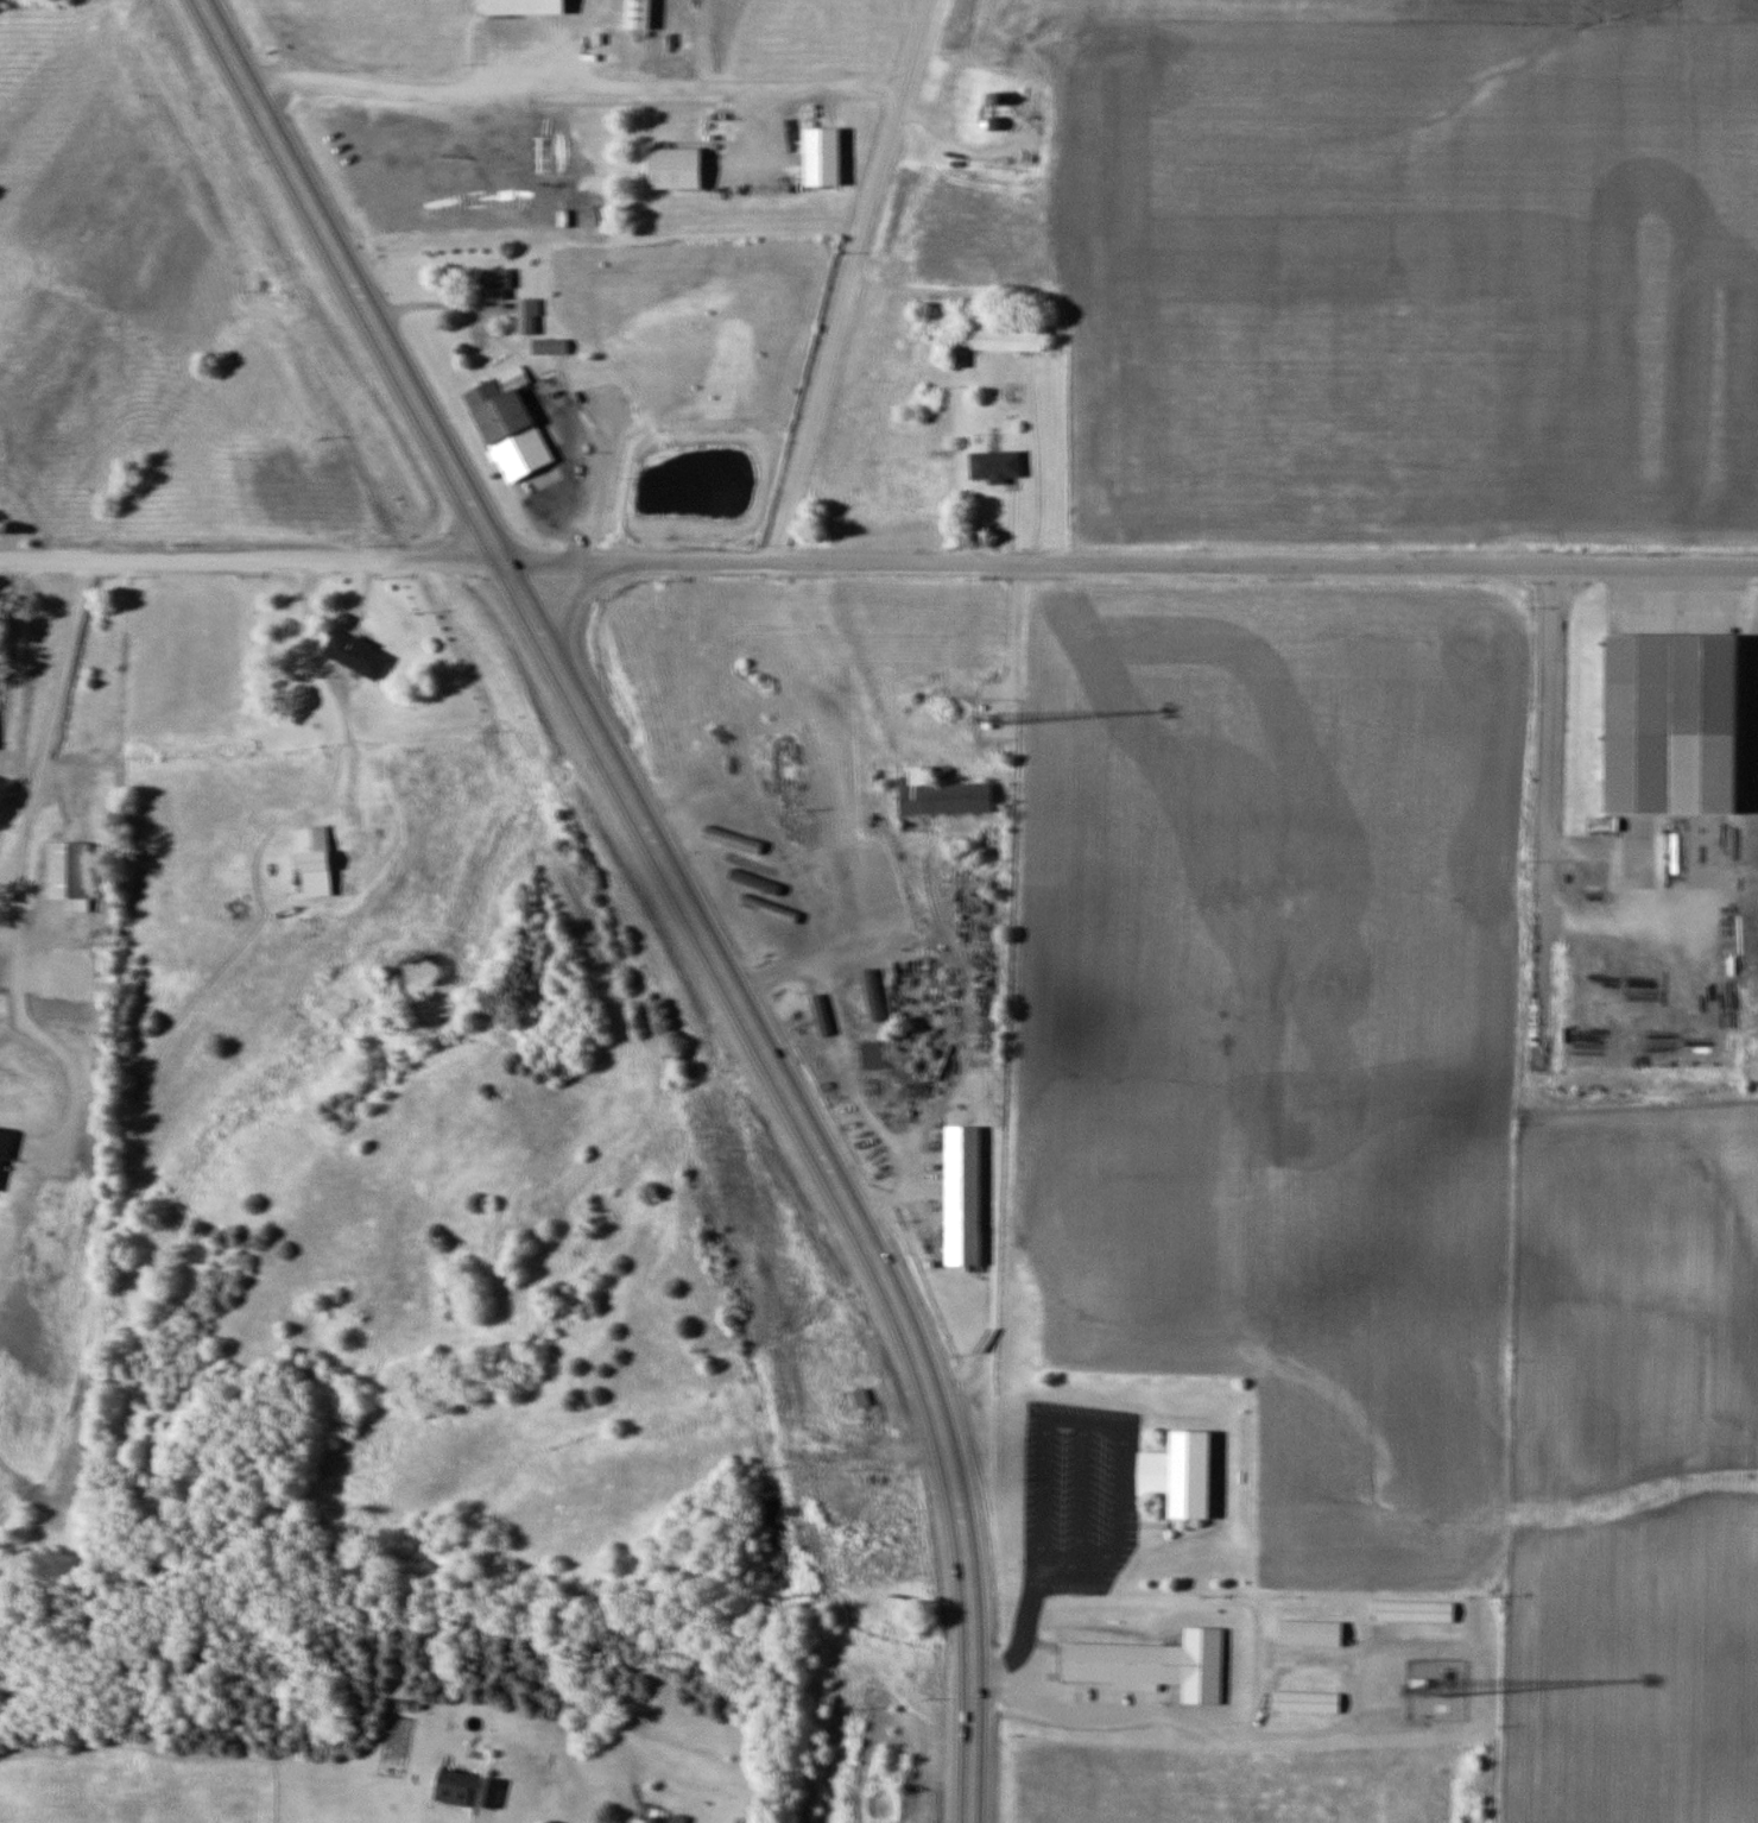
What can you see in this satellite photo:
building: (524, 6)
building: (638, 14)
road: (578, 90)
building: (989, 124)
building: (822, 157)
building: (675, 168)
road: (850, 282)
building: (494, 284)
building: (526, 315)
building: (1008, 334)
building: (549, 347)
building: (508, 425)
building: (995, 466)
road: (461, 531)
road: (878, 563)
road: (569, 604)
building: (365, 661)
building: (1677, 717)
building: (941, 794)
road: (1547, 812)
building: (317, 852)
building: (65, 873)
road: (675, 884)
building: (869, 959)
building: (871, 996)
building: (872, 1055)
building: (963, 1196)
building: (861, 1399)
building: (1181, 1466)
building: (1414, 1611)
building: (1309, 1634)
building: (1151, 1655)
building: (1307, 1703)
building: (469, 1790)
building: (654, 1819)

